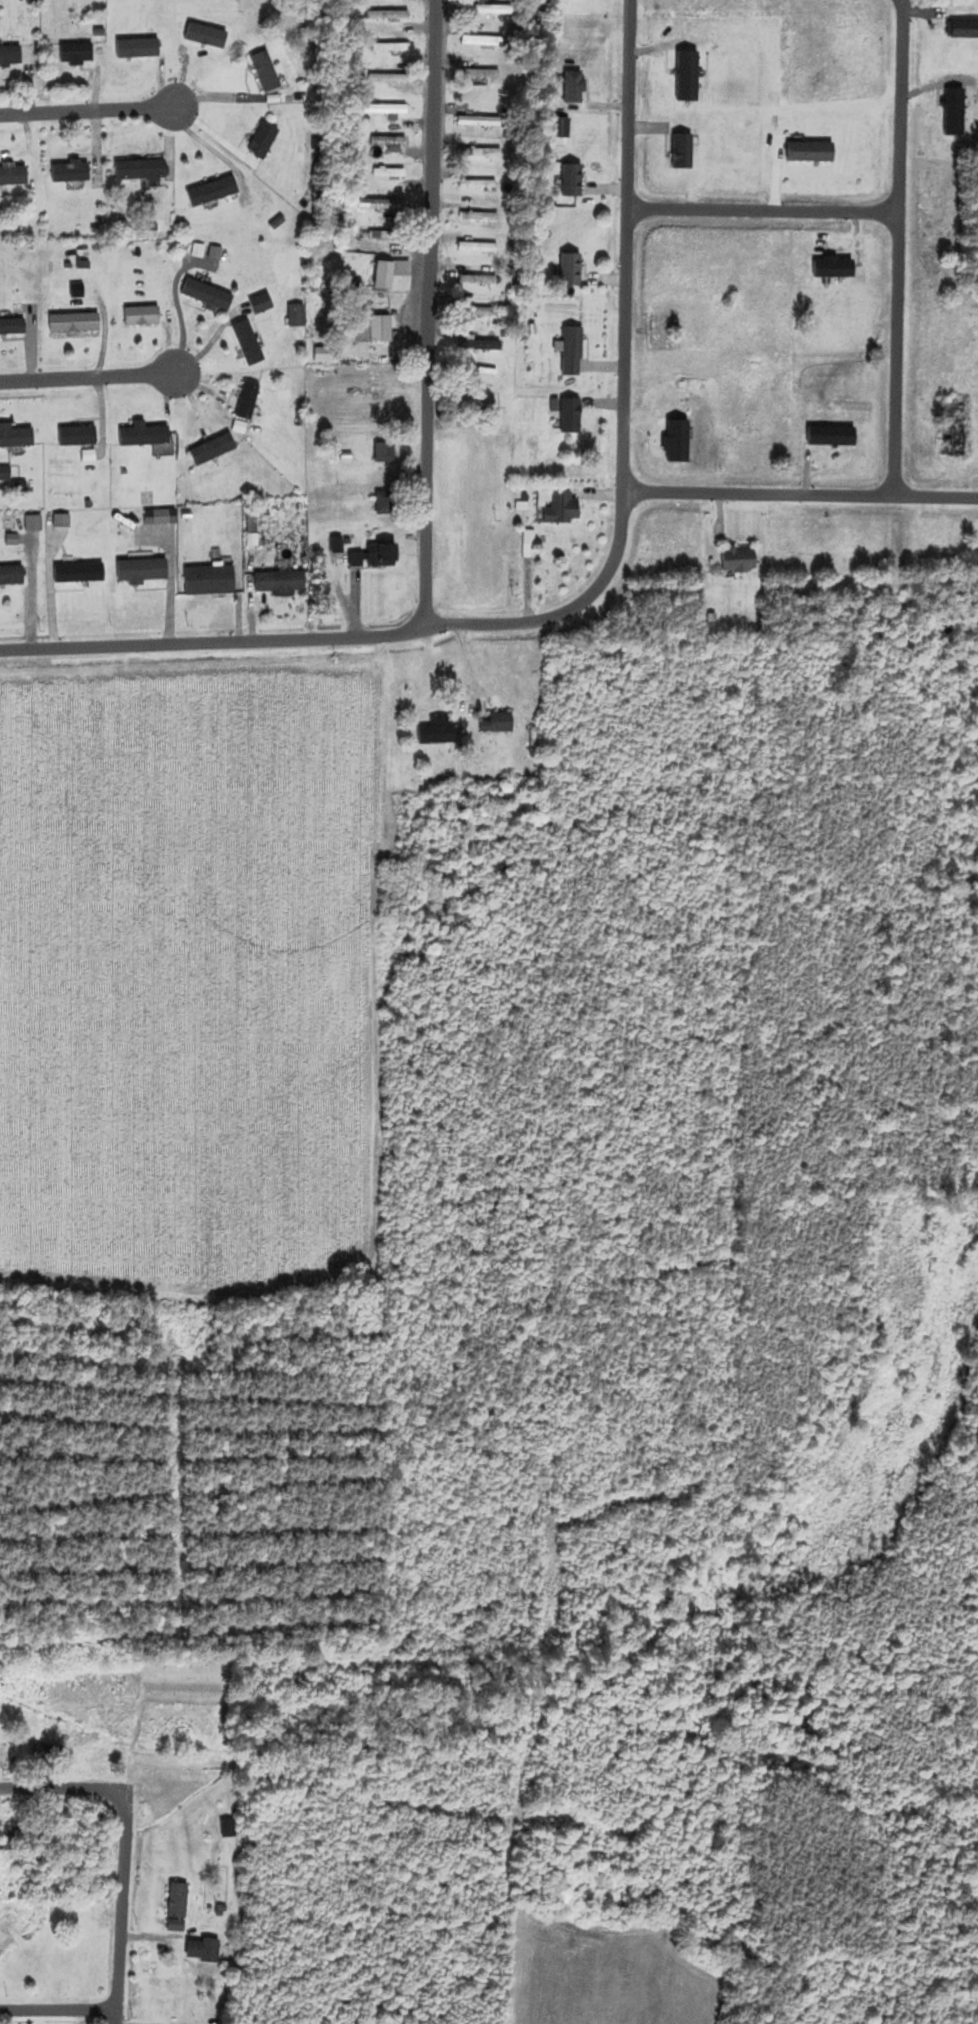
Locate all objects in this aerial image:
building: (489, 9)
building: (388, 15)
building: (963, 30)
building: (393, 48)
building: (77, 54)
building: (11, 55)
building: (267, 72)
building: (480, 74)
building: (576, 87)
building: (387, 110)
road: (84, 113)
building: (480, 122)
building: (264, 142)
building: (390, 143)
building: (684, 152)
building: (488, 153)
building: (813, 153)
building: (142, 170)
building: (72, 172)
building: (390, 173)
building: (14, 176)
building: (574, 181)
building: (478, 184)
building: (214, 192)
building: (384, 205)
road: (765, 212)
building: (480, 218)
building: (382, 237)
building: (478, 248)
road: (899, 249)
building: (572, 270)
building: (395, 276)
building: (476, 280)
building: (208, 295)
building: (263, 304)
building: (488, 312)
road: (431, 314)
building: (143, 316)
building: (297, 316)
building: (76, 323)
building: (13, 327)
building: (375, 330)
building: (250, 343)
building: (485, 346)
building: (573, 352)
road: (88, 375)
road: (629, 387)
building: (249, 401)
building: (572, 416)
building: (145, 435)
building: (17, 437)
building: (79, 437)
building: (214, 449)
building: (386, 452)
road: (803, 497)
building: (387, 502)
building: (564, 509)
building: (63, 521)
building: (377, 557)
building: (741, 561)
building: (143, 571)
building: (81, 573)
building: (12, 576)
building: (211, 581)
building: (281, 583)
road: (214, 646)
building: (503, 724)
building: (439, 732)
building: (48, 1754)
building: (4, 1757)
building: (228, 1828)
building: (12, 1839)
road: (126, 1843)
building: (178, 1907)
building: (203, 1951)
road: (59, 2014)

